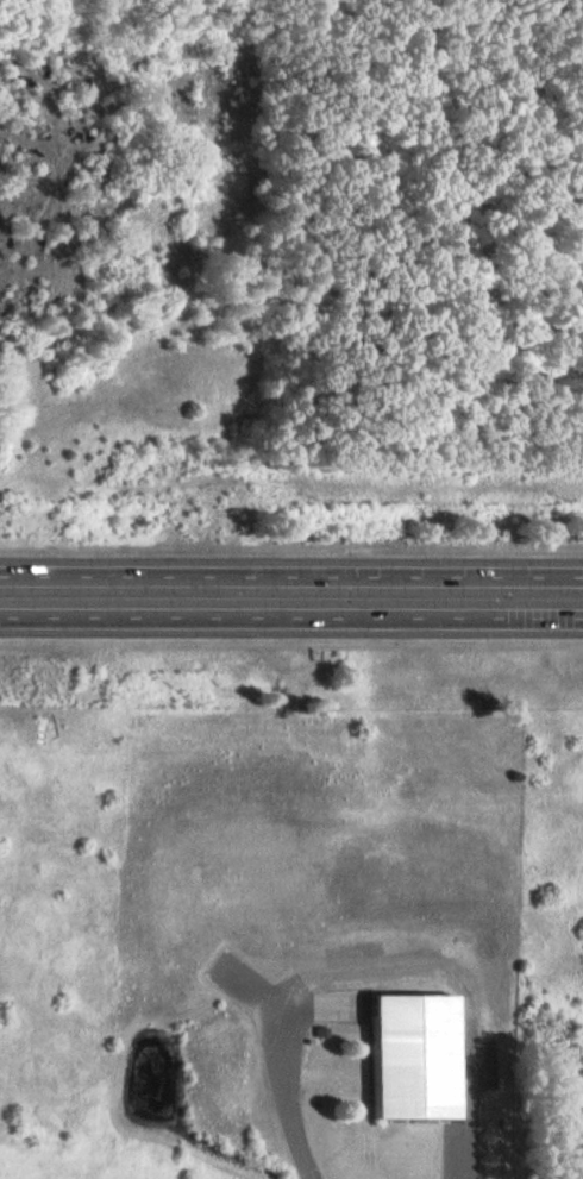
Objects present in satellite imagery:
road: (291, 581)
road: (291, 619)
road: (377, 970)
building: (412, 1055)

